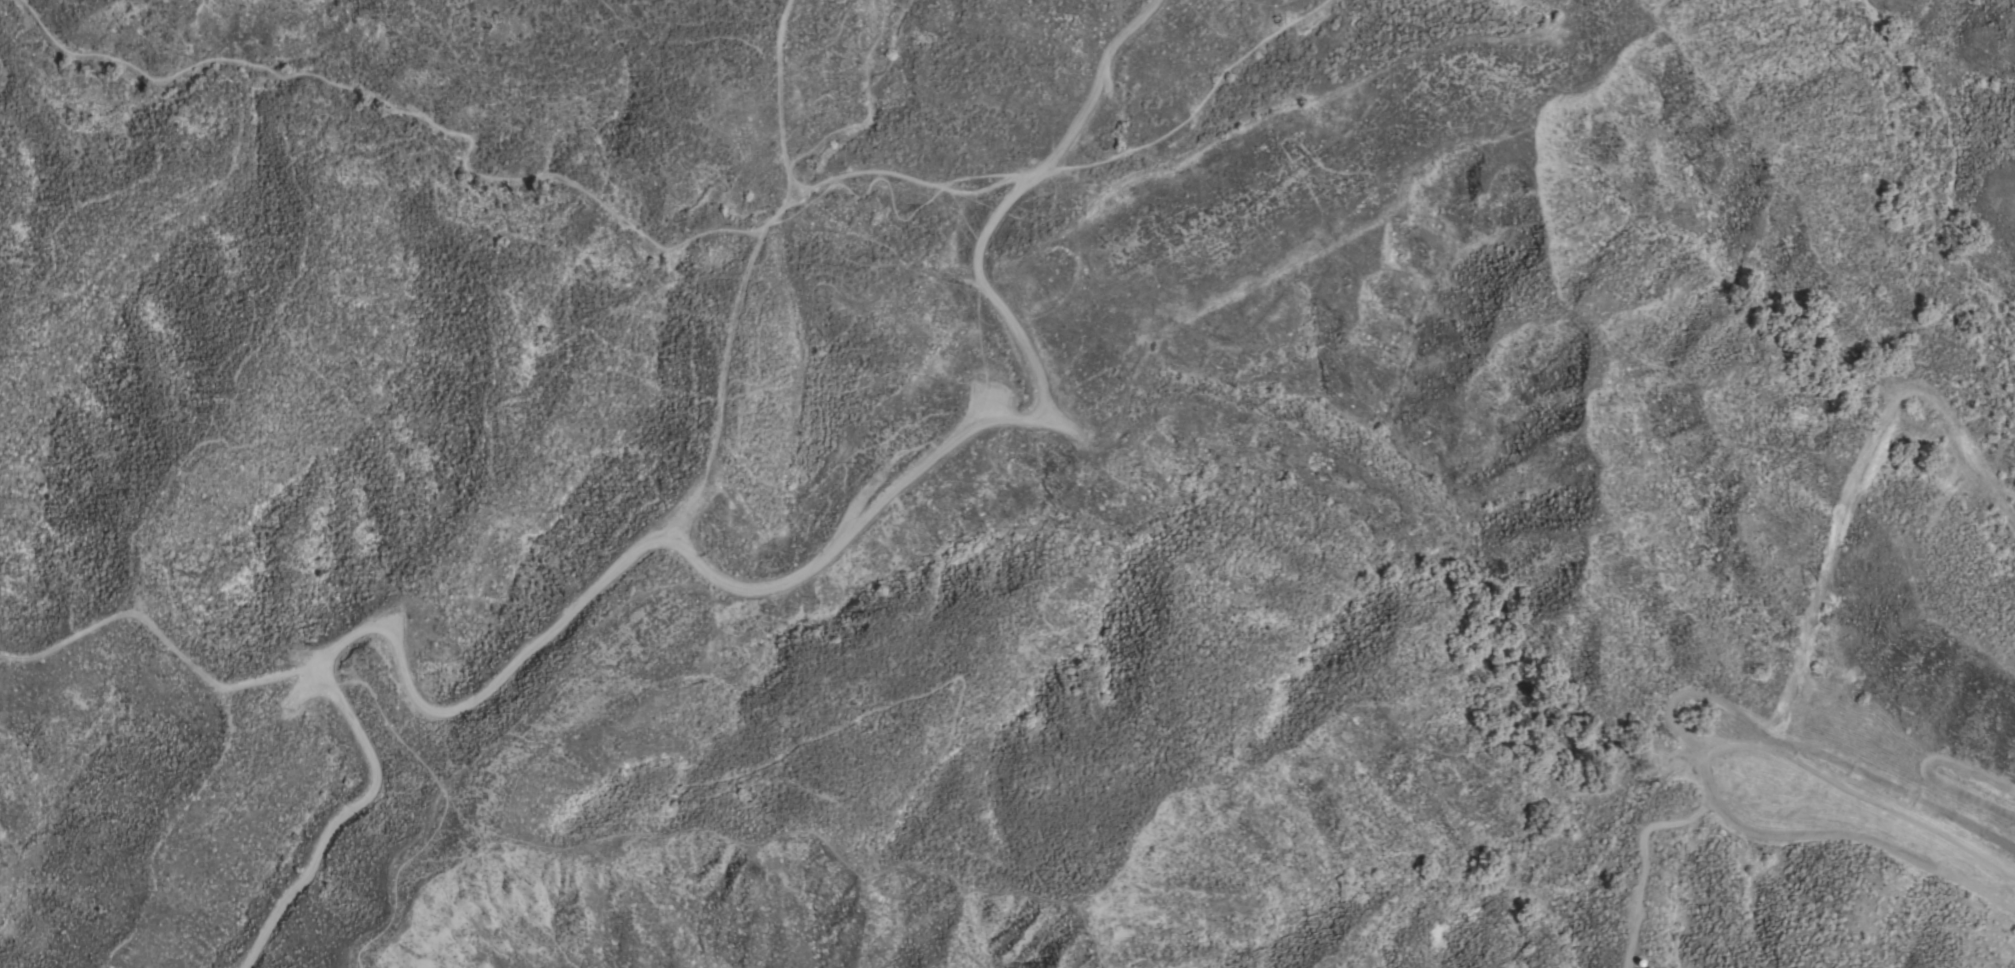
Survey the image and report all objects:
road: (781, 98)
road: (869, 107)
road: (404, 114)
road: (1057, 168)
road: (1075, 260)
road: (719, 387)
road: (707, 574)
road: (161, 641)
road: (441, 812)

